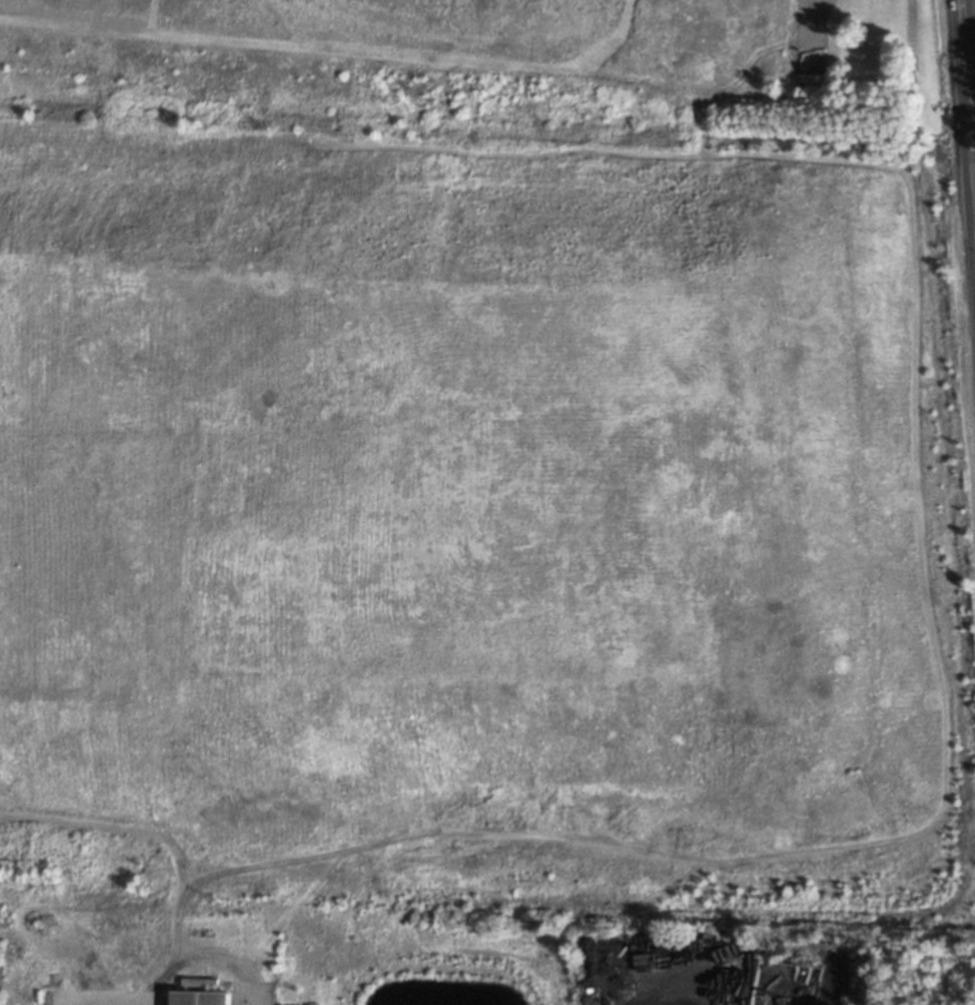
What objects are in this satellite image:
road: (968, 82)
building: (207, 998)

